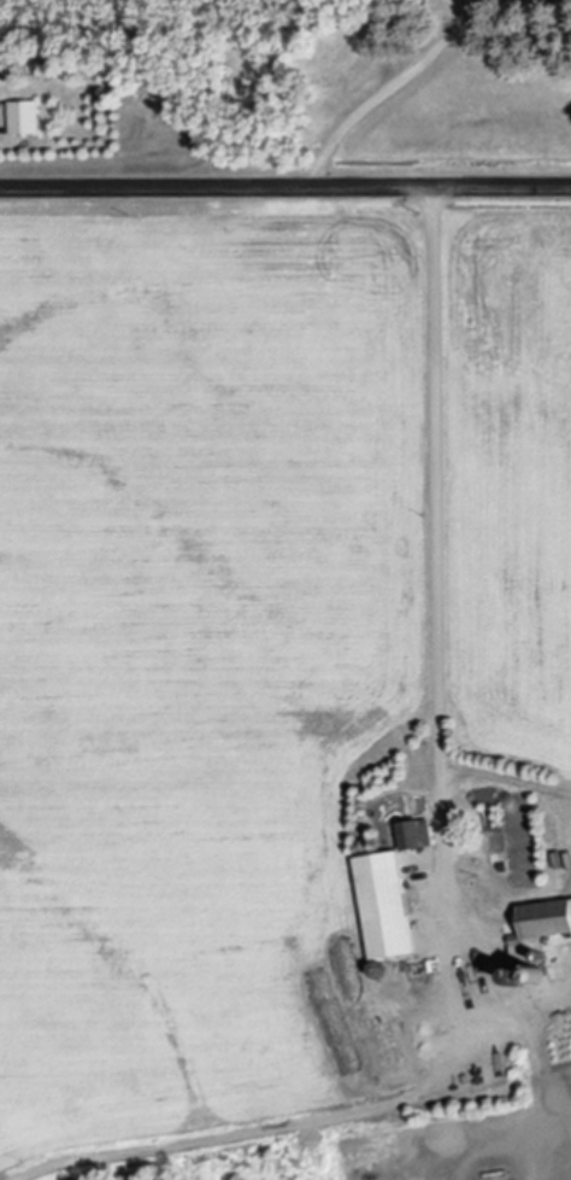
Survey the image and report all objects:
road: (389, 92)
building: (27, 119)
road: (285, 187)
building: (407, 835)
road: (441, 853)
building: (377, 907)
building: (537, 923)

